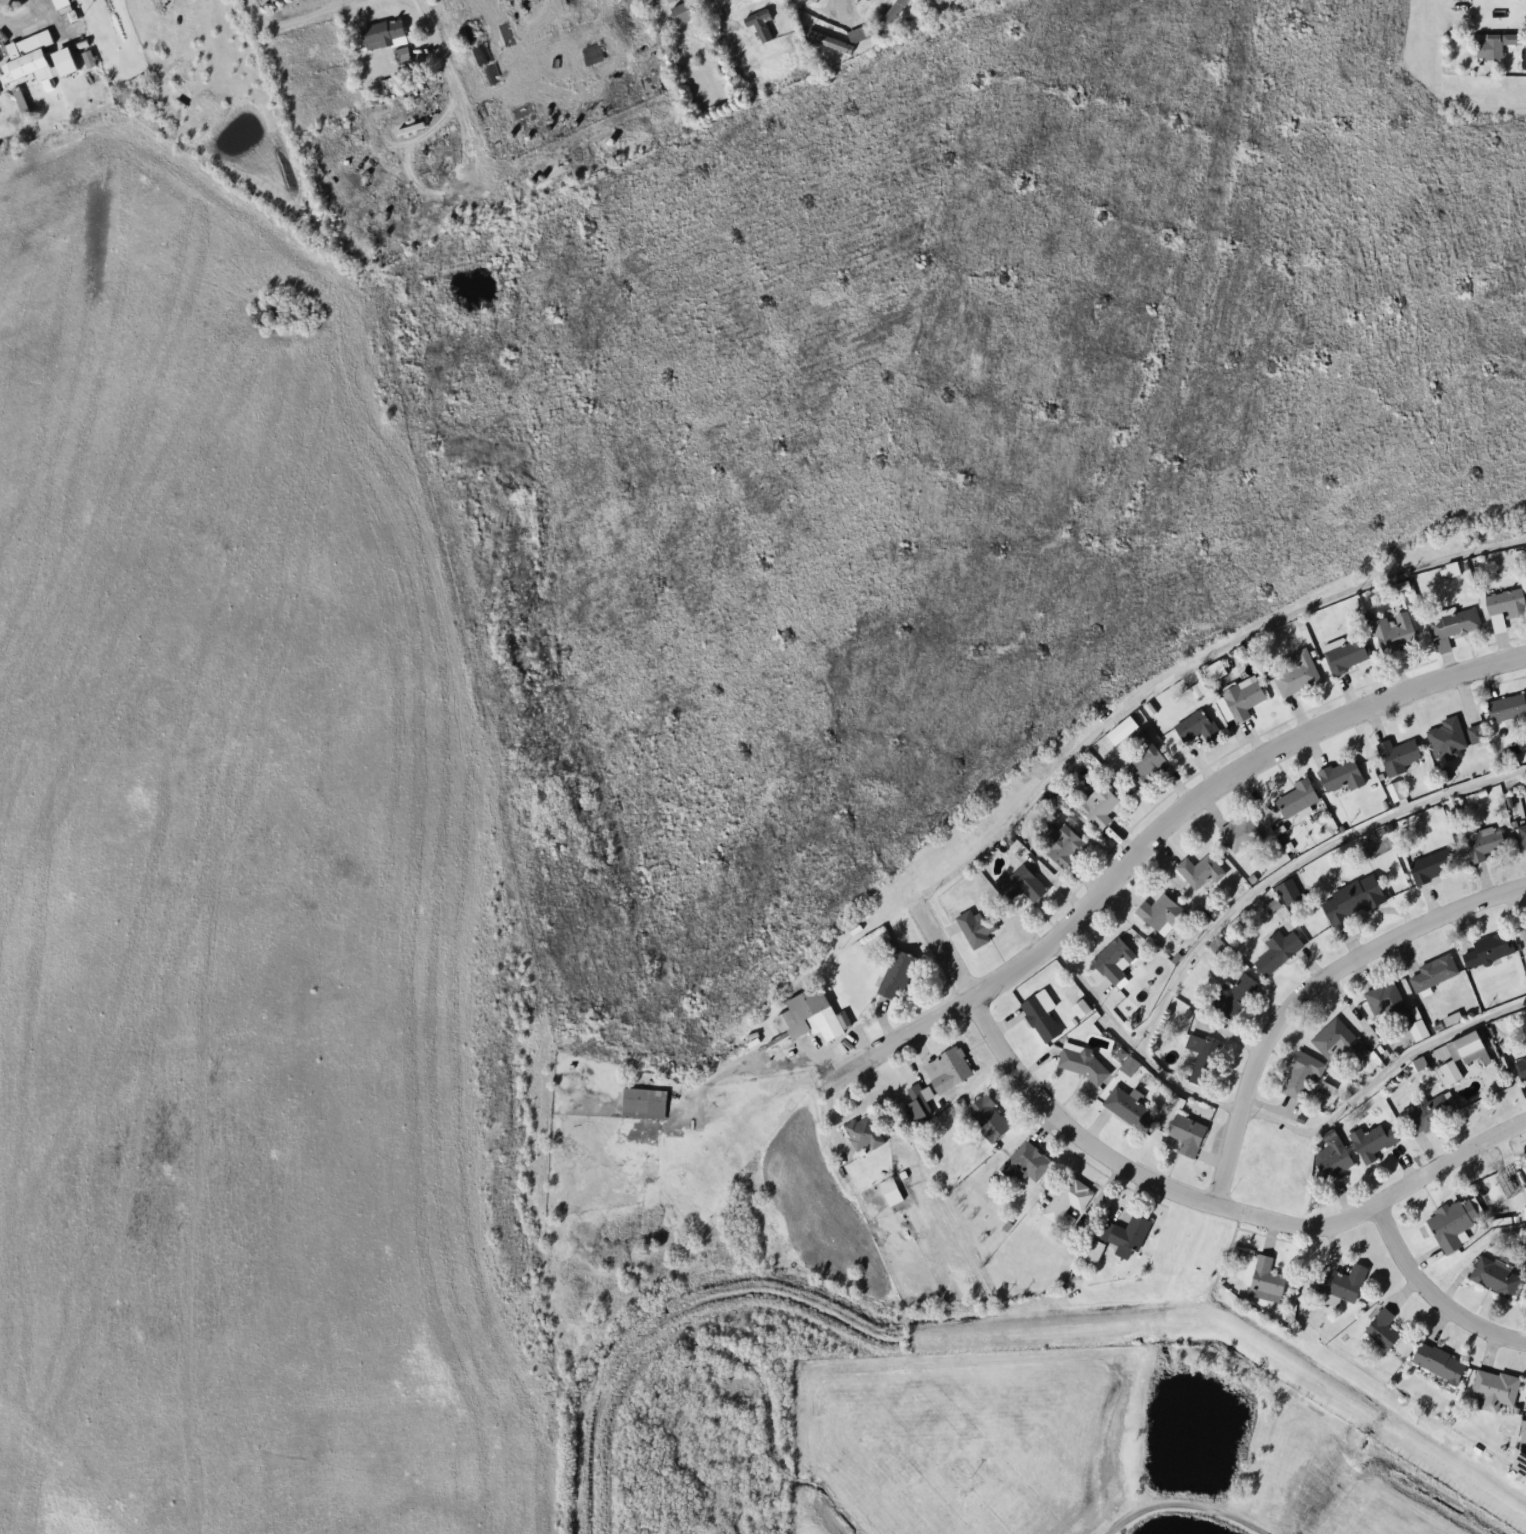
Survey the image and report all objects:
building: (735, 0)
building: (813, 0)
building: (866, 0)
building: (669, 1)
road: (844, 5)
road: (712, 8)
building: (678, 15)
road: (292, 17)
building: (889, 17)
building: (758, 25)
building: (386, 34)
building: (857, 35)
building: (828, 43)
road: (432, 46)
building: (405, 55)
building: (484, 55)
building: (29, 61)
building: (798, 74)
building: (1504, 606)
building: (1452, 626)
building: (1393, 631)
building: (1344, 653)
road: (1183, 660)
building: (1214, 670)
building: (1295, 673)
building: (1241, 697)
building: (1506, 707)
building: (1195, 726)
building: (1474, 734)
building: (1445, 738)
building: (1395, 756)
building: (1141, 760)
building: (1340, 777)
building: (1294, 798)
building: (1097, 806)
road: (1158, 824)
building: (1238, 833)
building: (1521, 834)
building: (1482, 843)
building: (1060, 844)
road: (1294, 864)
building: (1430, 865)
building: (1198, 871)
building: (1019, 884)
building: (1350, 899)
building: (1159, 912)
building: (975, 928)
building: (1523, 932)
building: (1486, 950)
building: (1276, 951)
building: (1112, 960)
building: (1525, 966)
building: (1433, 972)
building: (895, 973)
road: (1309, 985)
building: (1232, 996)
building: (1384, 1000)
building: (1080, 1009)
building: (809, 1015)
building: (1039, 1015)
road: (1360, 1018)
building: (1337, 1042)
building: (1201, 1059)
building: (1081, 1064)
building: (1520, 1068)
building: (949, 1070)
building: (1449, 1072)
building: (1299, 1075)
building: (642, 1104)
building: (1125, 1107)
building: (918, 1108)
building: (1427, 1113)
building: (986, 1118)
road: (1270, 1120)
building: (862, 1132)
building: (1185, 1134)
building: (1371, 1142)
building: (1331, 1158)
building: (1024, 1163)
road: (1168, 1188)
building: (890, 1192)
building: (1066, 1202)
building: (1451, 1222)
building: (1125, 1234)
road: (1471, 1248)
building: (1094, 1253)
building: (1494, 1278)
building: (1264, 1281)
building: (1343, 1285)
road: (1431, 1294)
building: (1380, 1330)
building: (1437, 1363)
building: (1493, 1389)
building: (1518, 1464)
road: (1185, 1497)

